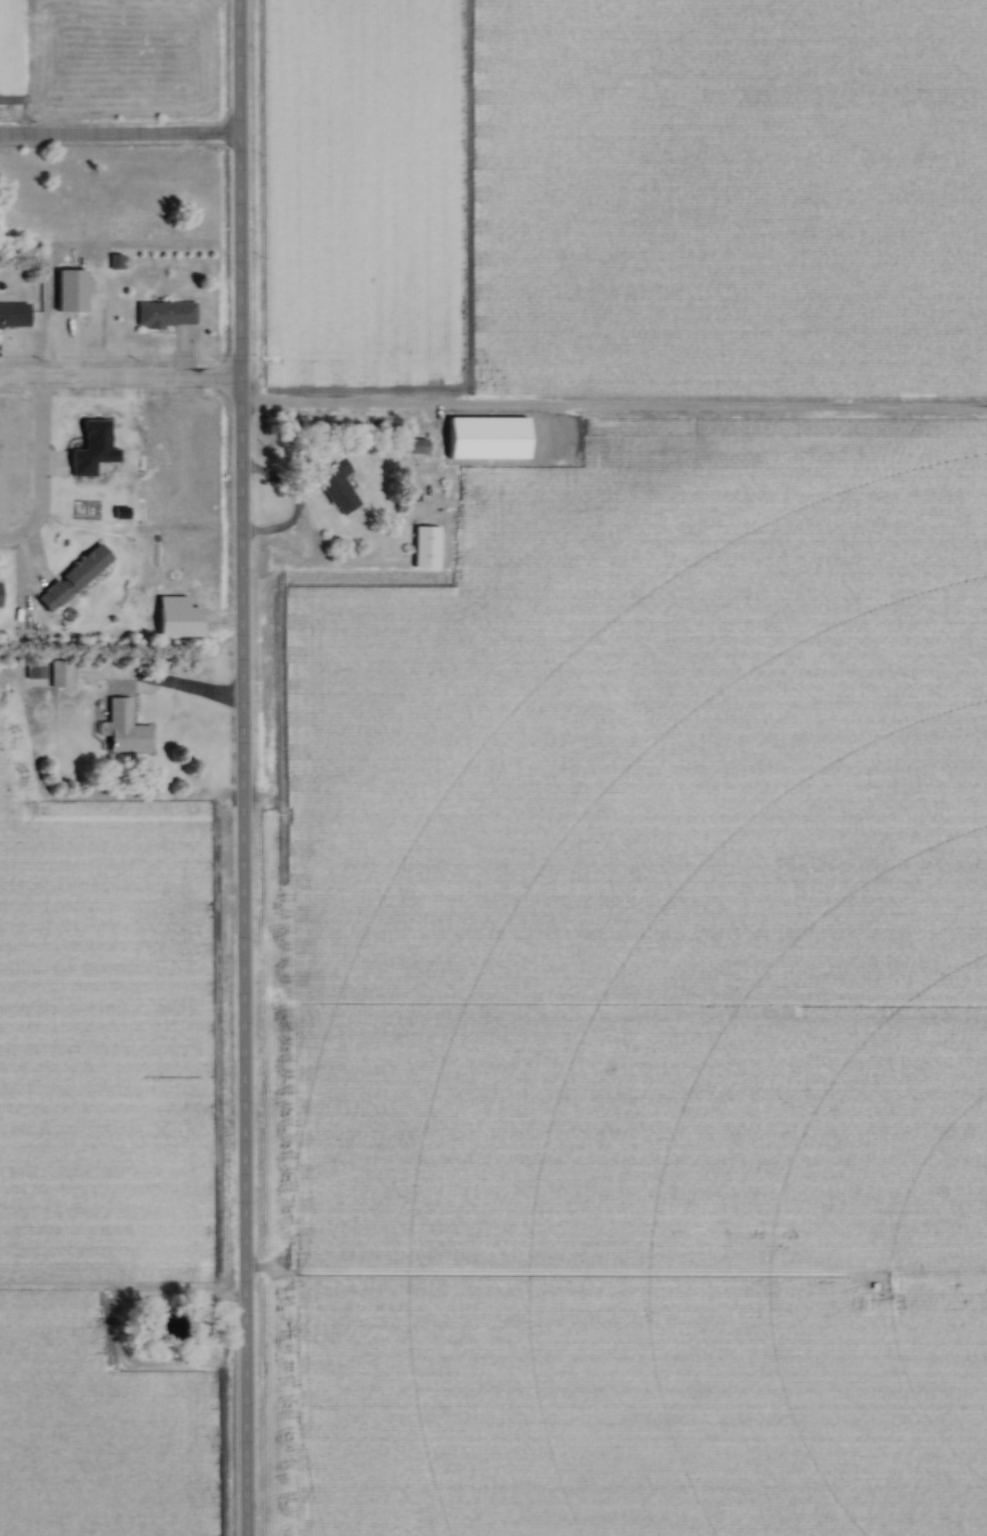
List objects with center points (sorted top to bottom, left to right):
road: (118, 134)
building: (113, 263)
building: (12, 315)
building: (163, 315)
road: (120, 382)
building: (484, 436)
building: (414, 448)
road: (39, 472)
building: (334, 487)
building: (425, 542)
building: (69, 579)
building: (0, 595)
building: (46, 675)
building: (122, 729)
road: (241, 767)
crop: (105, 1032)

